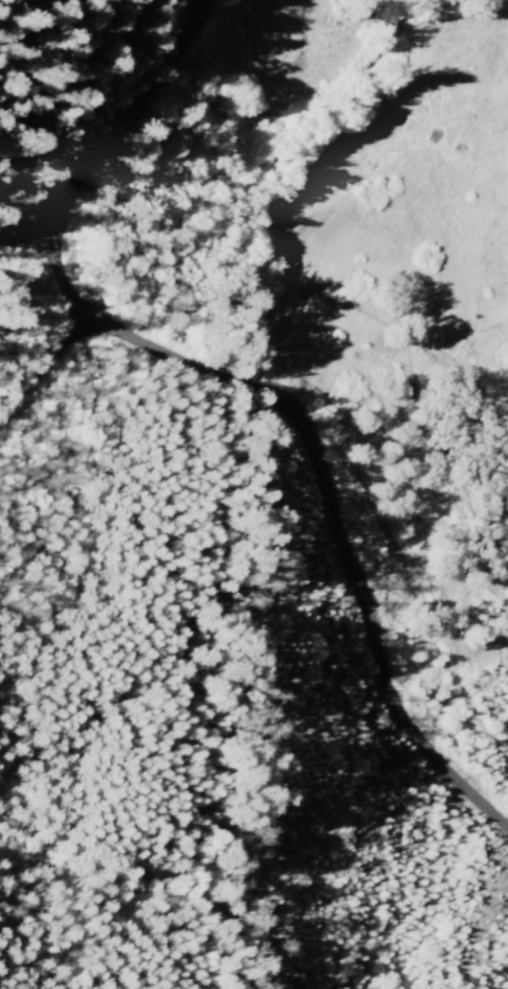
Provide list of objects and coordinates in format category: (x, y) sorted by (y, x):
road: (46, 365)
road: (241, 386)

